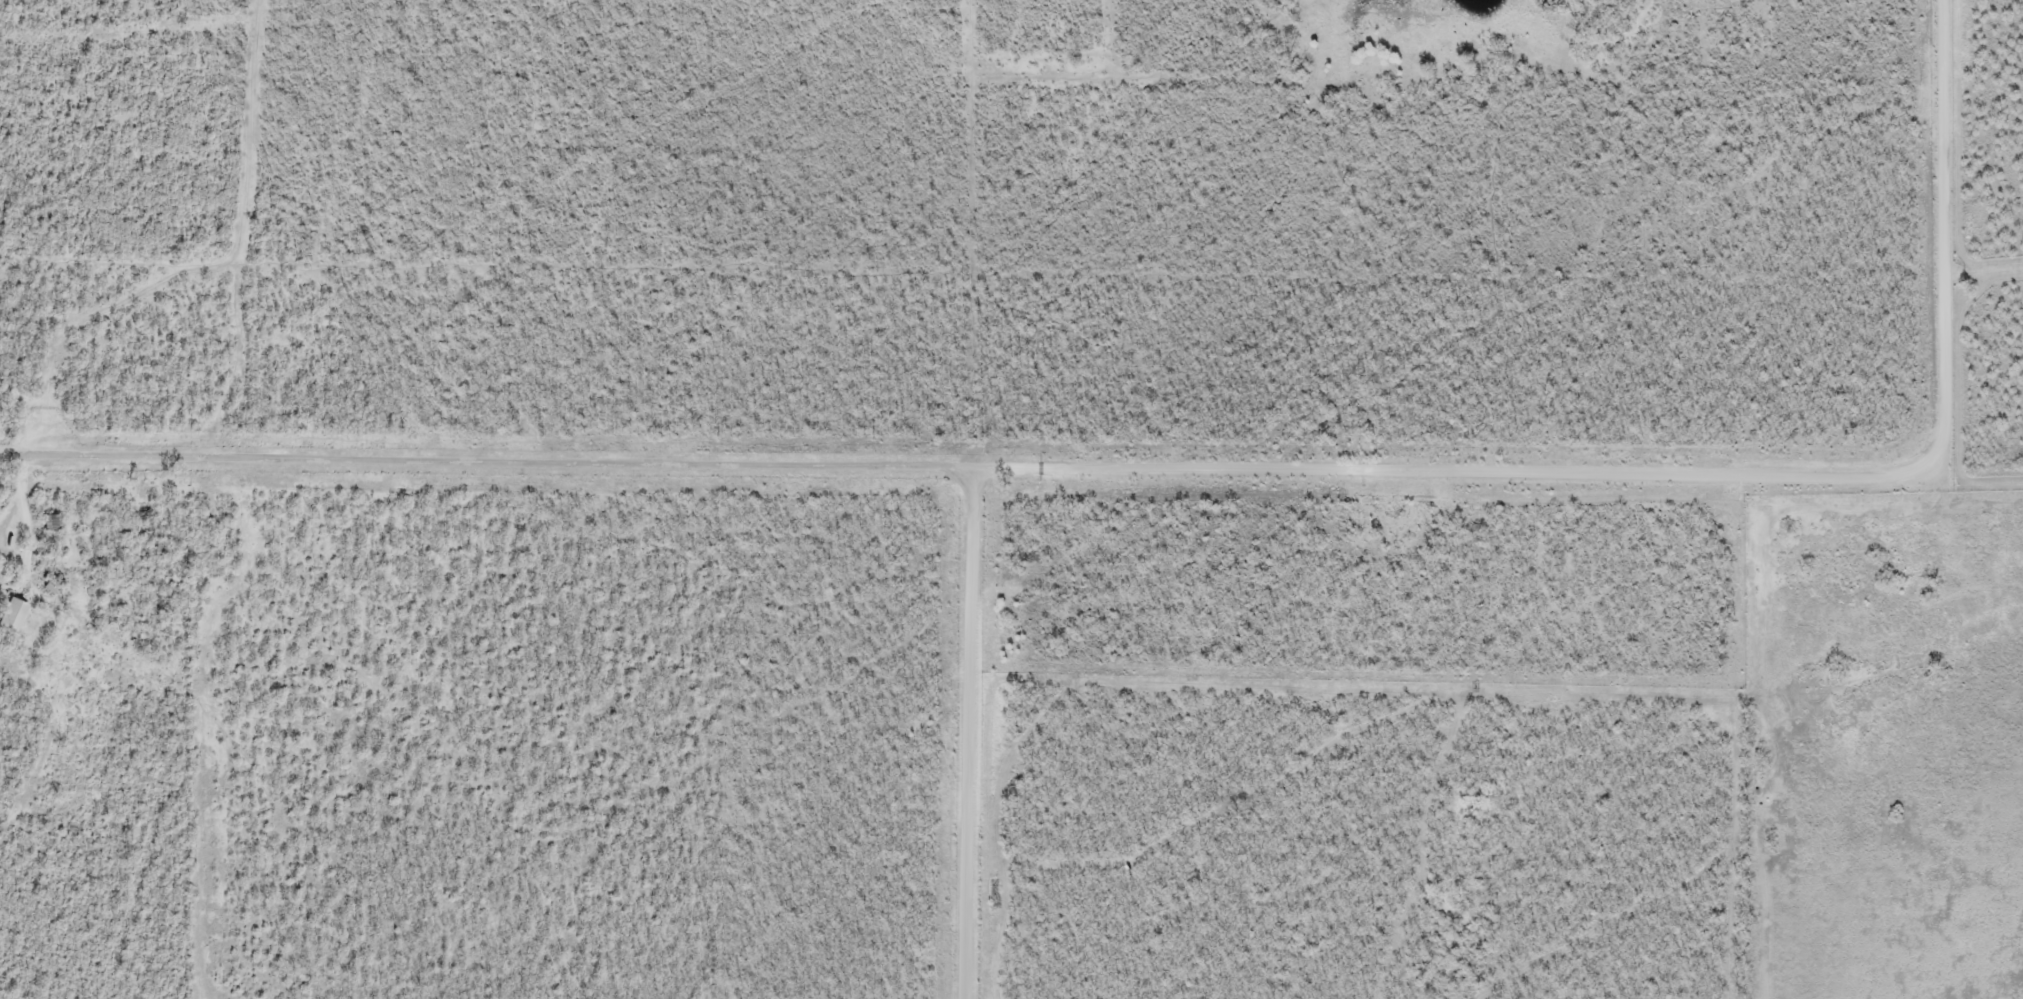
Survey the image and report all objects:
road: (1936, 237)
road: (486, 468)
road: (1454, 472)
building: (52, 524)
building: (12, 617)
road: (969, 734)

